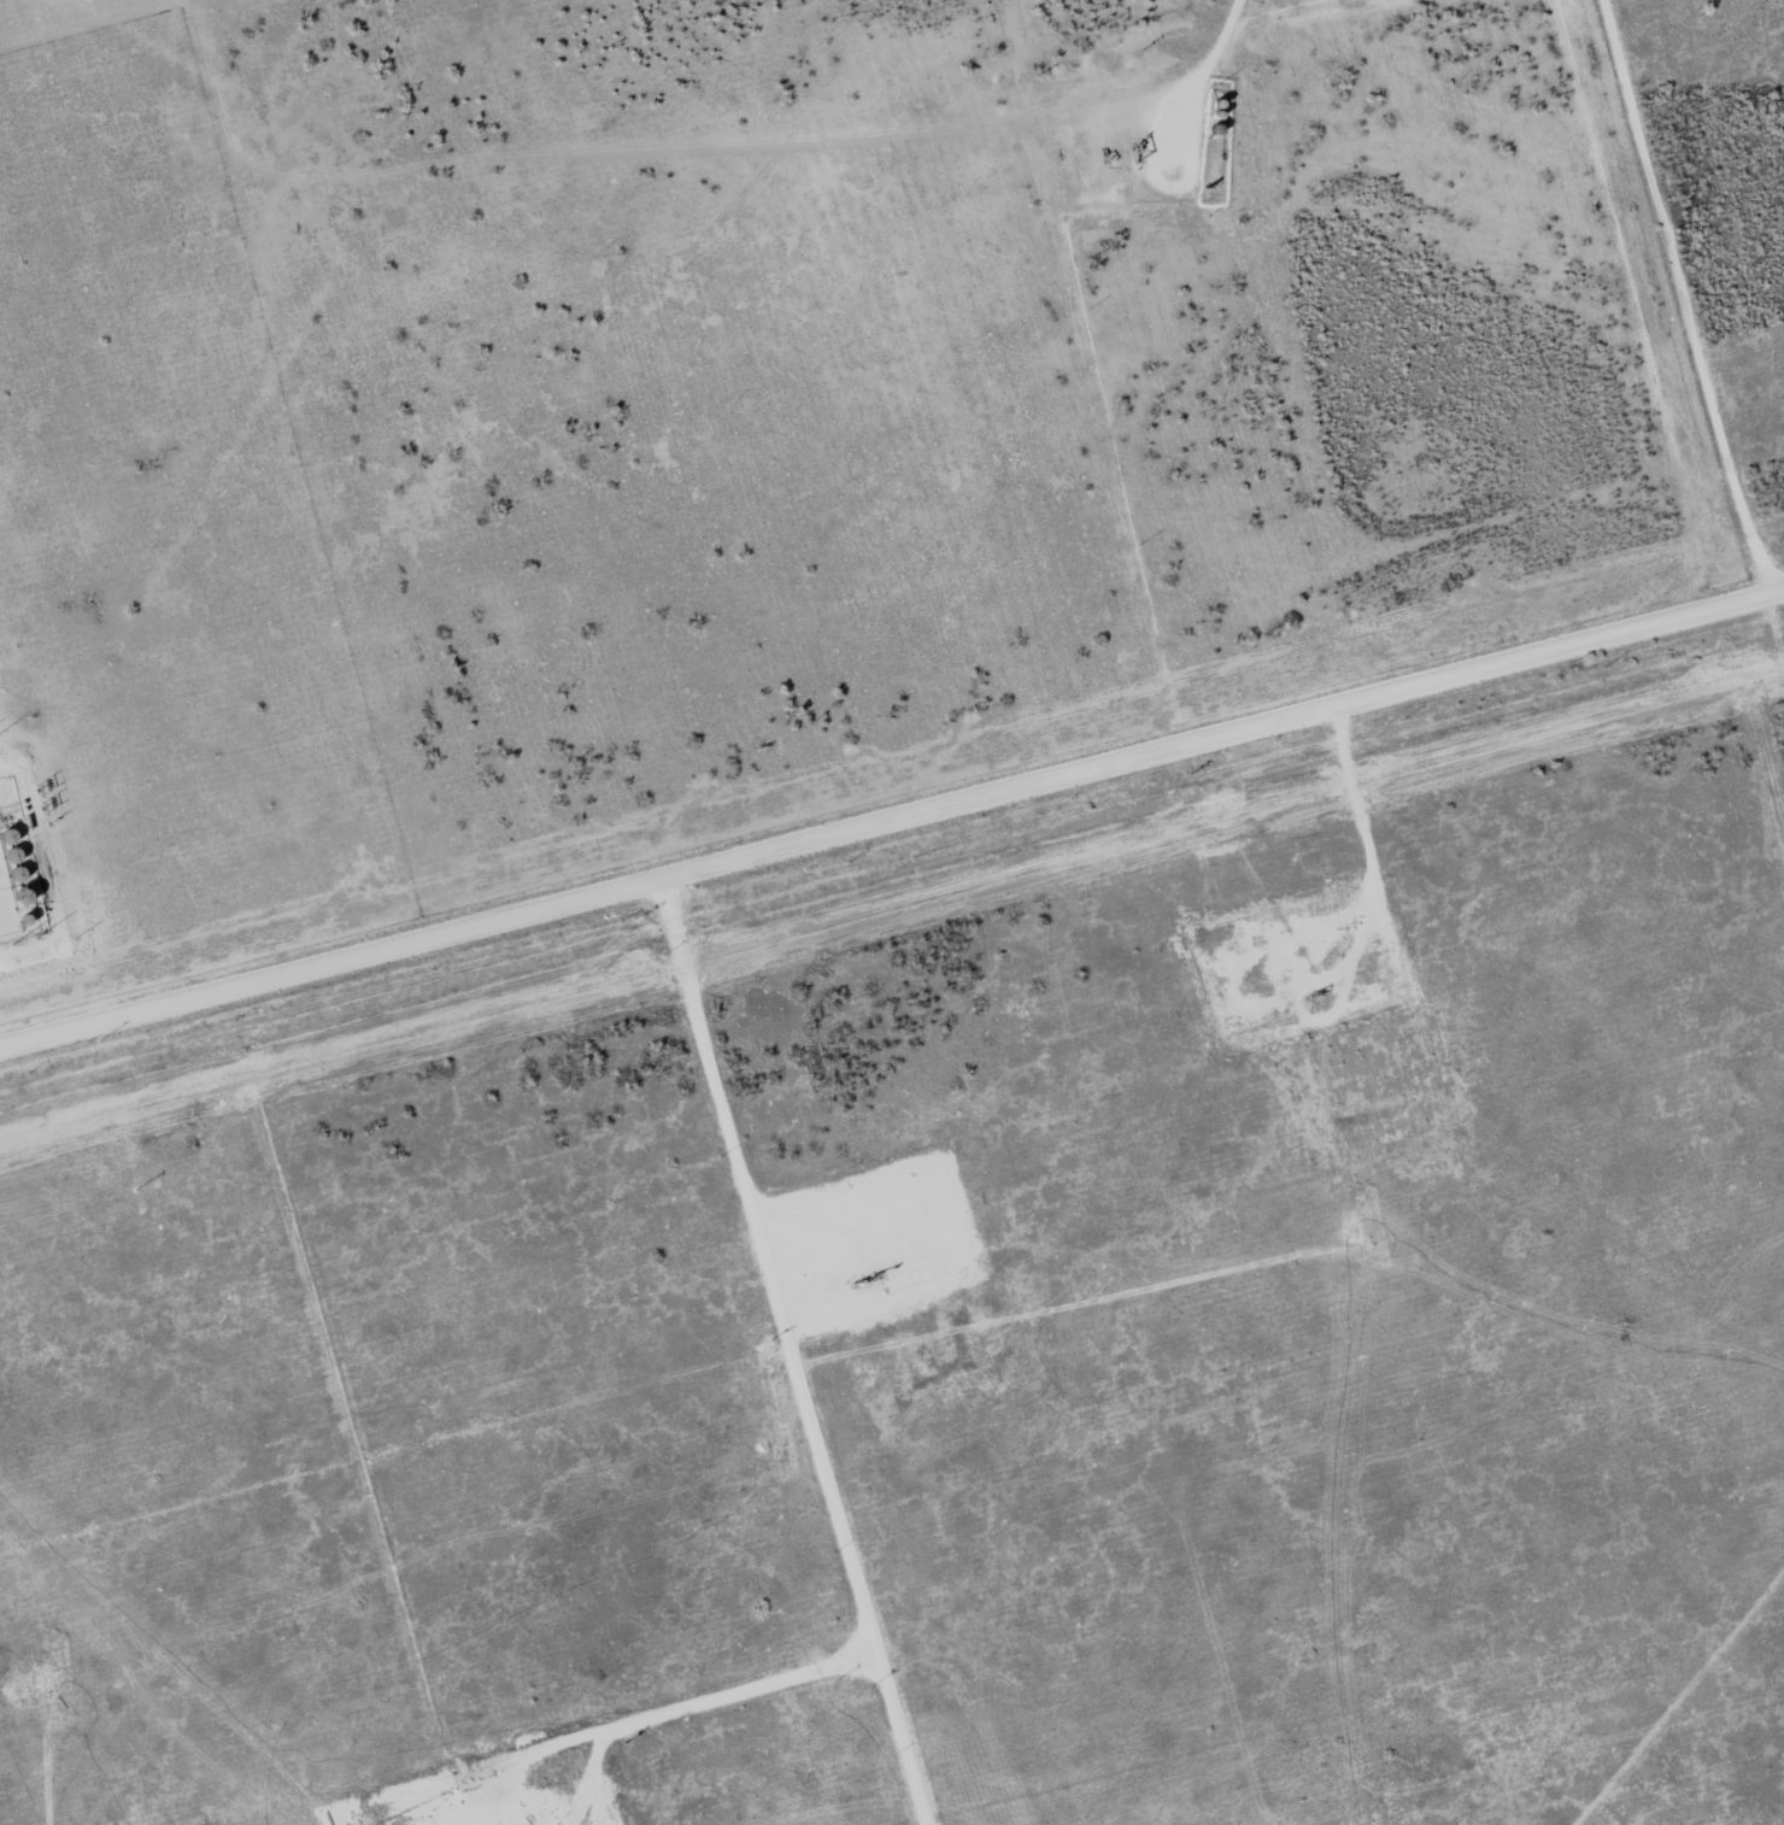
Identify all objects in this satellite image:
road: (892, 817)

